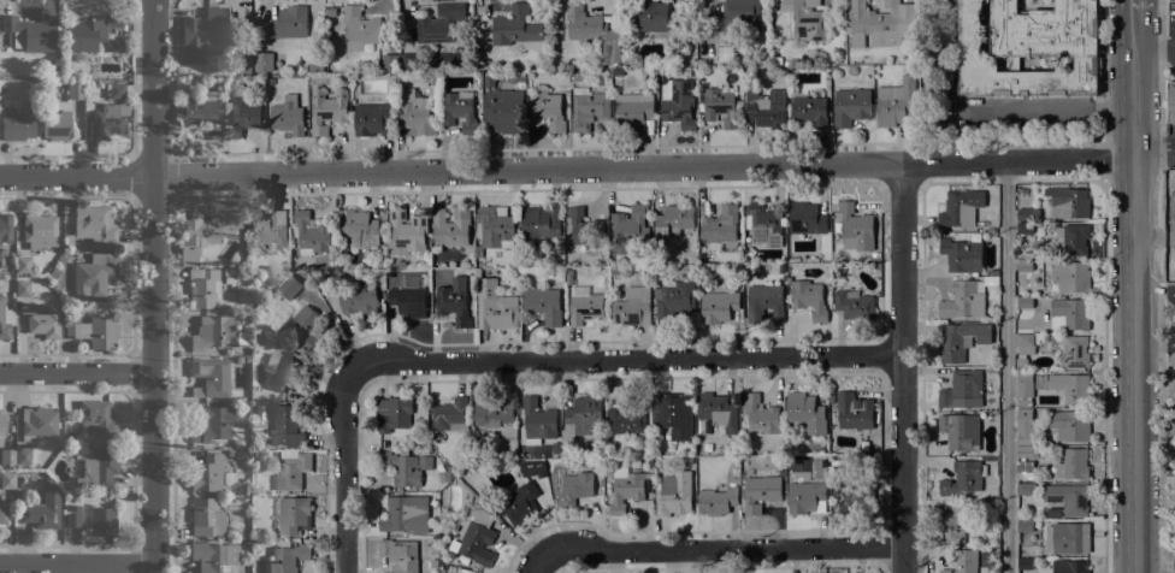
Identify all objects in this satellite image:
road: (1132, 5)
building: (331, 12)
building: (734, 17)
building: (659, 18)
building: (807, 20)
building: (285, 23)
building: (439, 23)
building: (880, 23)
building: (583, 24)
building: (515, 26)
building: (359, 29)
building: (29, 34)
building: (96, 34)
building: (206, 34)
building: (610, 46)
building: (1029, 47)
road: (1153, 47)
building: (855, 58)
building: (262, 61)
building: (408, 61)
building: (701, 61)
building: (777, 61)
building: (390, 63)
road: (1102, 70)
building: (516, 78)
building: (608, 79)
building: (489, 81)
road: (1161, 83)
building: (1, 88)
building: (75, 89)
building: (117, 90)
building: (1171, 101)
building: (678, 102)
building: (896, 104)
building: (720, 106)
building: (850, 106)
building: (545, 108)
building: (587, 108)
building: (766, 108)
building: (327, 110)
building: (460, 110)
building: (504, 110)
building: (809, 110)
building: (632, 111)
building: (414, 112)
building: (200, 113)
building: (240, 116)
building: (288, 116)
building: (373, 119)
building: (108, 120)
building: (16, 122)
building: (55, 125)
road: (1103, 160)
road: (566, 167)
road: (1053, 182)
building: (1067, 201)
building: (961, 207)
building: (1027, 214)
building: (805, 218)
building: (673, 220)
building: (94, 223)
building: (539, 223)
building: (720, 224)
building: (763, 225)
building: (265, 226)
building: (5, 228)
building: (450, 228)
building: (584, 228)
building: (854, 228)
building: (1025, 228)
building: (205, 229)
building: (359, 229)
building: (492, 229)
building: (628, 229)
building: (39, 230)
building: (312, 232)
building: (406, 232)
building: (1074, 238)
road: (1153, 240)
building: (961, 254)
building: (875, 255)
building: (701, 256)
building: (365, 261)
building: (526, 261)
building: (22, 264)
building: (876, 265)
building: (1023, 265)
building: (737, 270)
building: (228, 271)
building: (615, 271)
building: (181, 272)
building: (93, 274)
building: (426, 274)
building: (1070, 276)
building: (568, 277)
building: (229, 279)
building: (2, 286)
road: (154, 286)
building: (202, 286)
building: (289, 286)
building: (23, 288)
road: (1133, 291)
building: (808, 299)
building: (966, 299)
building: (407, 300)
building: (674, 300)
road: (1153, 300)
building: (356, 301)
building: (450, 301)
building: (763, 302)
building: (1025, 302)
building: (542, 305)
building: (584, 305)
building: (854, 305)
building: (718, 306)
building: (495, 307)
building: (633, 307)
building: (1069, 314)
building: (5, 319)
building: (43, 323)
building: (305, 329)
building: (95, 331)
building: (215, 333)
building: (960, 341)
road: (1155, 344)
building: (1023, 350)
building: (1074, 350)
building: (247, 359)
road: (625, 361)
building: (993, 361)
road: (903, 367)
road: (1004, 367)
building: (990, 370)
building: (282, 371)
road: (77, 374)
building: (212, 376)
road: (1104, 377)
building: (1064, 385)
building: (1025, 388)
building: (962, 389)
building: (831, 400)
building: (492, 409)
building: (855, 409)
building: (719, 410)
building: (392, 413)
building: (807, 413)
building: (450, 414)
building: (674, 414)
building: (760, 414)
building: (98, 415)
building: (628, 415)
building: (581, 417)
building: (537, 419)
building: (37, 423)
building: (212, 423)
building: (1, 424)
building: (1071, 425)
building: (285, 426)
building: (1023, 427)
building: (960, 431)
road: (1161, 431)
building: (556, 447)
building: (690, 448)
building: (1027, 451)
building: (230, 453)
building: (6, 456)
building: (23, 456)
building: (689, 460)
building: (1073, 465)
building: (95, 466)
building: (406, 466)
building: (291, 468)
building: (533, 468)
road: (346, 469)
building: (1025, 469)
building: (207, 472)
building: (962, 478)
building: (7, 479)
building: (18, 480)
building: (572, 488)
building: (627, 488)
building: (761, 489)
building: (1025, 489)
building: (418, 495)
building: (674, 495)
building: (855, 496)
building: (807, 497)
building: (1069, 498)
building: (716, 501)
building: (520, 503)
building: (43, 509)
building: (2, 514)
building: (293, 514)
building: (72, 515)
building: (396, 515)
building: (206, 518)
building: (102, 520)
building: (953, 522)
building: (242, 534)
building: (1026, 534)
building: (1069, 537)
building: (476, 539)
building: (246, 544)
road: (722, 549)
building: (400, 555)
building: (213, 556)
building: (288, 556)
building: (442, 559)
building: (964, 560)
building: (1025, 563)
road: (79, 565)
road: (538, 566)
building: (1069, 566)
building: (944, 571)

